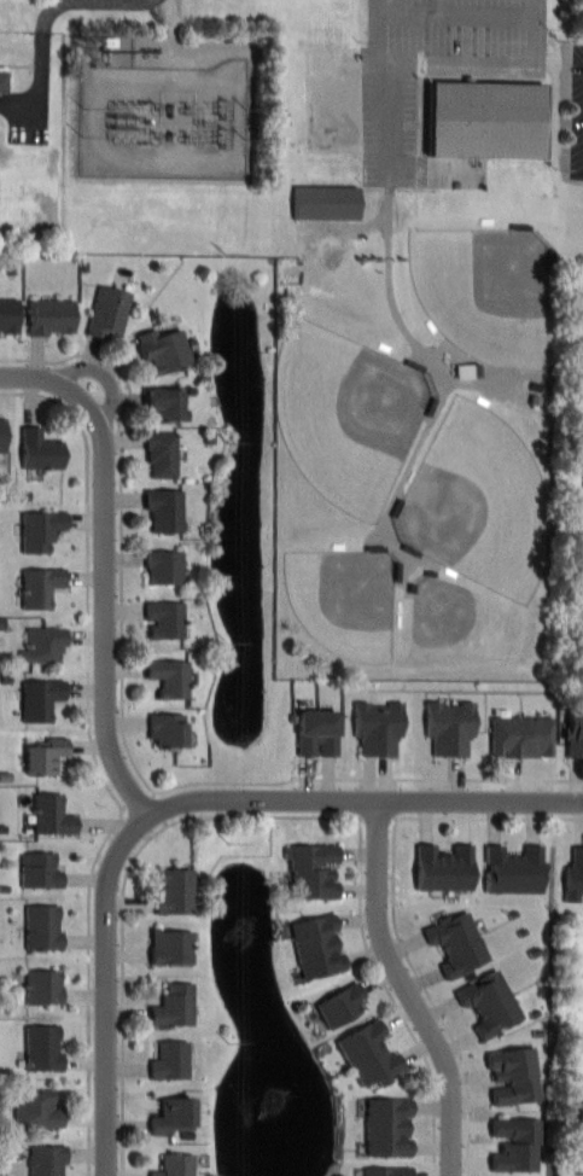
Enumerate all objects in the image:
road: (40, 45)
building: (4, 81)
road: (387, 82)
power substation: (170, 112)
building: (488, 118)
building: (327, 202)
park: (490, 290)
building: (107, 312)
building: (10, 315)
building: (52, 316)
building: (163, 350)
road: (34, 359)
building: (467, 371)
road: (110, 374)
road: (47, 396)
building: (165, 404)
park: (351, 414)
building: (2, 433)
building: (41, 449)
building: (162, 454)
park: (485, 503)
building: (164, 510)
building: (40, 530)
road: (122, 551)
road: (109, 564)
building: (163, 566)
building: (40, 587)
park: (352, 605)
road: (88, 615)
building: (164, 619)
park: (461, 623)
building: (43, 645)
building: (169, 677)
building: (41, 699)
building: (378, 727)
building: (450, 727)
building: (167, 730)
building: (319, 733)
building: (575, 733)
building: (521, 737)
building: (47, 756)
road: (365, 778)
road: (368, 804)
building: (52, 815)
road: (263, 815)
road: (480, 816)
road: (117, 823)
road: (163, 828)
building: (444, 868)
building: (40, 871)
building: (313, 871)
building: (514, 871)
building: (573, 877)
building: (175, 892)
building: (42, 927)
building: (457, 943)
building: (317, 947)
building: (170, 948)
building: (43, 988)
road: (112, 990)
road: (414, 990)
road: (392, 996)
road: (432, 996)
road: (123, 999)
road: (89, 1003)
building: (490, 1003)
building: (340, 1006)
building: (174, 1007)
building: (42, 1049)
building: (369, 1055)
building: (170, 1061)
building: (514, 1076)
building: (36, 1108)
building: (174, 1114)
building: (581, 1119)
building: (387, 1126)
building: (515, 1143)
building: (46, 1160)
building: (174, 1164)
building: (387, 1170)

